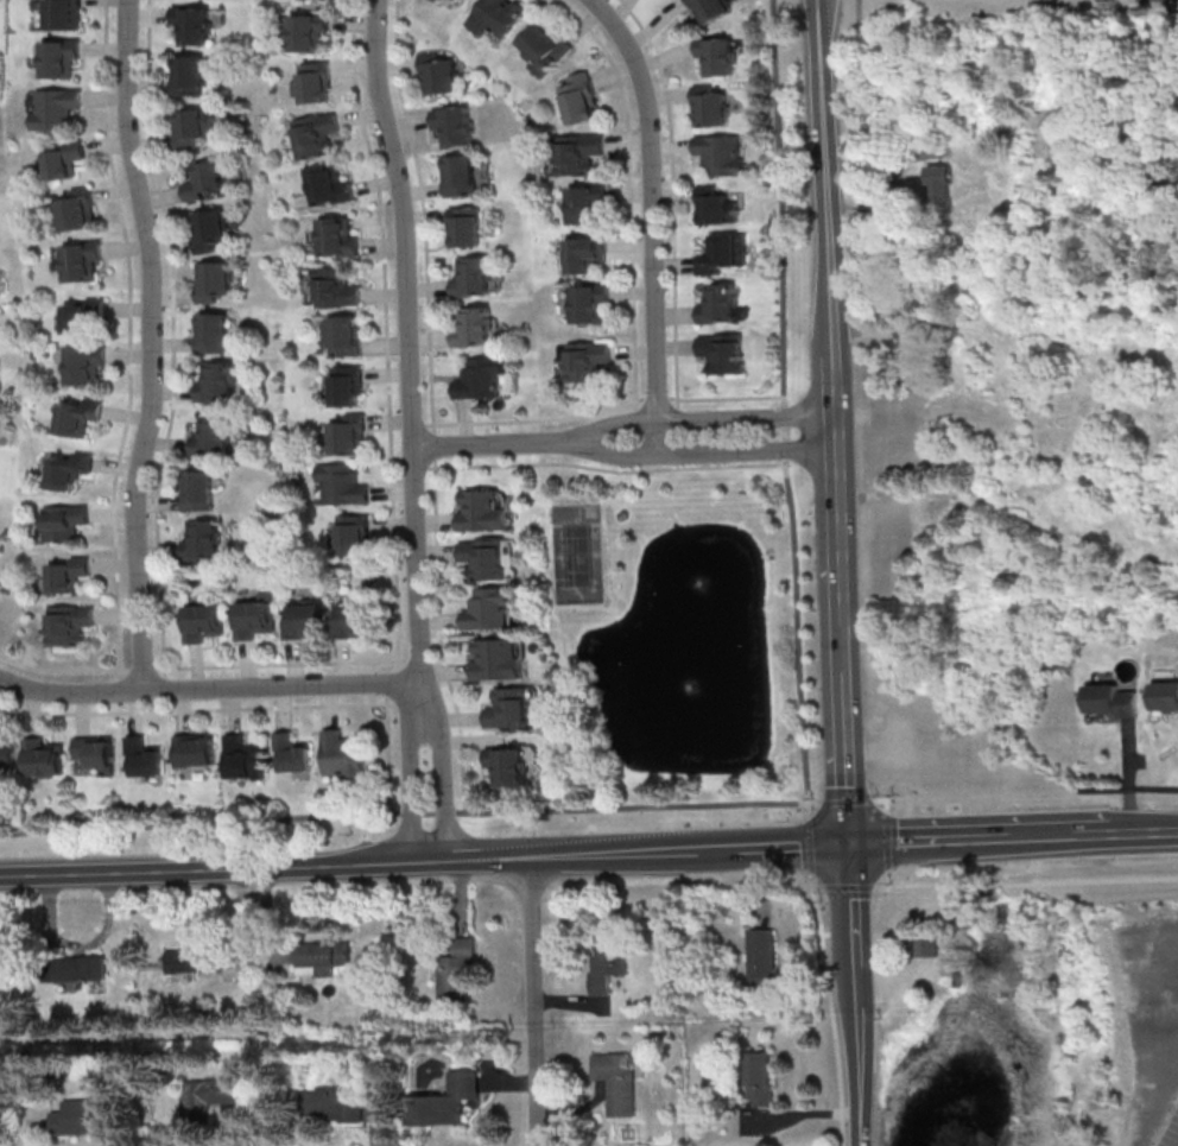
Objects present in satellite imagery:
building: (316, 0)
building: (444, 2)
building: (709, 10)
road: (817, 12)
building: (64, 14)
road: (857, 14)
building: (496, 17)
building: (195, 27)
building: (309, 33)
building: (544, 46)
building: (716, 57)
building: (61, 59)
building: (439, 75)
building: (190, 76)
building: (315, 83)
building: (578, 99)
building: (55, 109)
building: (709, 109)
building: (196, 126)
building: (454, 126)
building: (315, 135)
building: (577, 154)
building: (720, 154)
building: (66, 162)
building: (460, 176)
building: (207, 182)
building: (954, 185)
building: (329, 186)
building: (585, 205)
building: (714, 209)
building: (78, 214)
road: (651, 219)
building: (465, 227)
building: (210, 232)
building: (338, 238)
road: (674, 245)
building: (583, 254)
building: (722, 254)
building: (83, 262)
building: (473, 278)
building: (216, 281)
building: (336, 289)
building: (720, 304)
building: (589, 305)
building: (83, 316)
building: (473, 328)
building: (214, 334)
building: (343, 337)
road: (153, 343)
building: (724, 354)
road: (408, 355)
building: (585, 362)
building: (85, 367)
building: (482, 379)
building: (216, 381)
building: (346, 388)
road: (133, 394)
road: (658, 398)
road: (784, 400)
road: (703, 417)
building: (80, 418)
road: (532, 420)
road: (433, 423)
road: (830, 435)
building: (348, 436)
building: (218, 438)
road: (498, 442)
road: (705, 451)
road: (438, 466)
building: (69, 470)
building: (342, 486)
building: (198, 492)
building: (482, 512)
building: (64, 524)
building: (353, 536)
building: (201, 540)
park: (578, 555)
building: (486, 559)
building: (68, 576)
building: (489, 610)
building: (252, 620)
building: (304, 621)
building: (353, 621)
building: (201, 623)
building: (69, 626)
park: (666, 638)
building: (494, 660)
road: (274, 664)
road: (141, 667)
road: (208, 686)
building: (1165, 698)
building: (1111, 702)
road: (393, 703)
road: (245, 708)
building: (507, 710)
building: (192, 753)
building: (94, 754)
building: (290, 755)
building: (6, 756)
building: (341, 758)
building: (44, 759)
building: (141, 760)
building: (241, 760)
building: (505, 767)
road: (441, 784)
road: (406, 785)
road: (1127, 790)
road: (403, 811)
road: (1116, 832)
road: (1035, 837)
road: (932, 841)
traffic signals: (849, 846)
road: (786, 847)
road: (692, 851)
road: (551, 855)
road: (221, 866)
road: (1031, 881)
road: (883, 886)
building: (927, 956)
building: (319, 958)
building: (758, 960)
building: (192, 962)
building: (604, 962)
building: (75, 969)
building: (455, 974)
road: (854, 995)
building: (898, 995)
road: (532, 1001)
road: (830, 1015)
building: (755, 1081)
building: (614, 1083)
building: (207, 1093)
building: (444, 1103)
building: (325, 1106)
building: (80, 1119)
parking lot: (1171, 1133)

